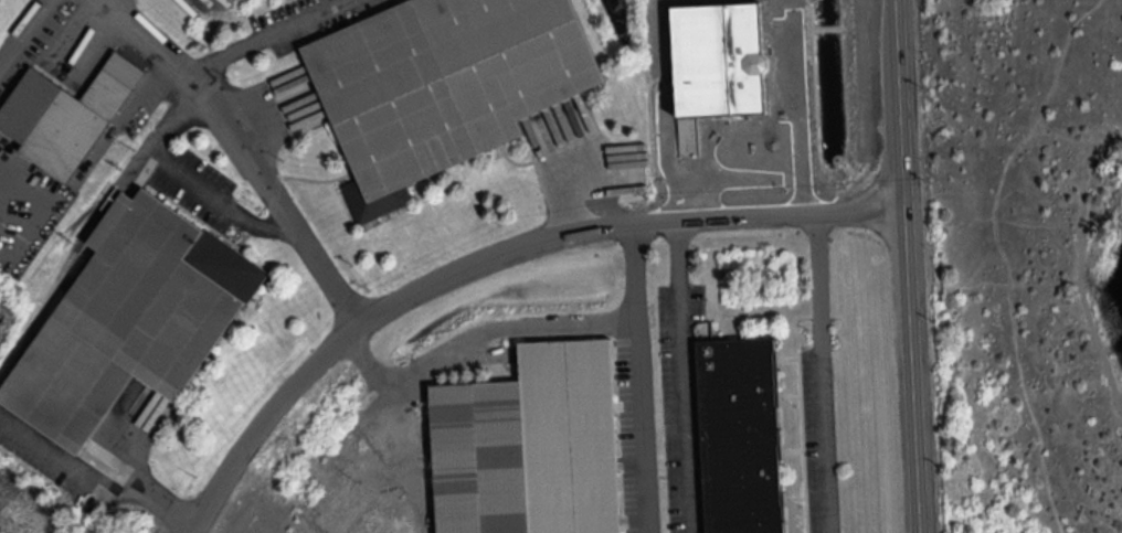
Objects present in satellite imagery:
road: (263, 35)
road: (30, 41)
building: (719, 57)
building: (442, 84)
building: (64, 114)
road: (756, 117)
road: (184, 172)
road: (580, 190)
road: (20, 210)
road: (1063, 223)
road: (1025, 224)
road: (1003, 254)
road: (489, 256)
park: (1025, 260)
road: (1080, 262)
road: (907, 266)
road: (1094, 281)
road: (993, 283)
road: (331, 287)
building: (129, 317)
road: (1111, 344)
road: (682, 375)
road: (823, 375)
road: (638, 379)
road: (1120, 399)
building: (741, 435)
building: (531, 444)
road: (96, 486)

